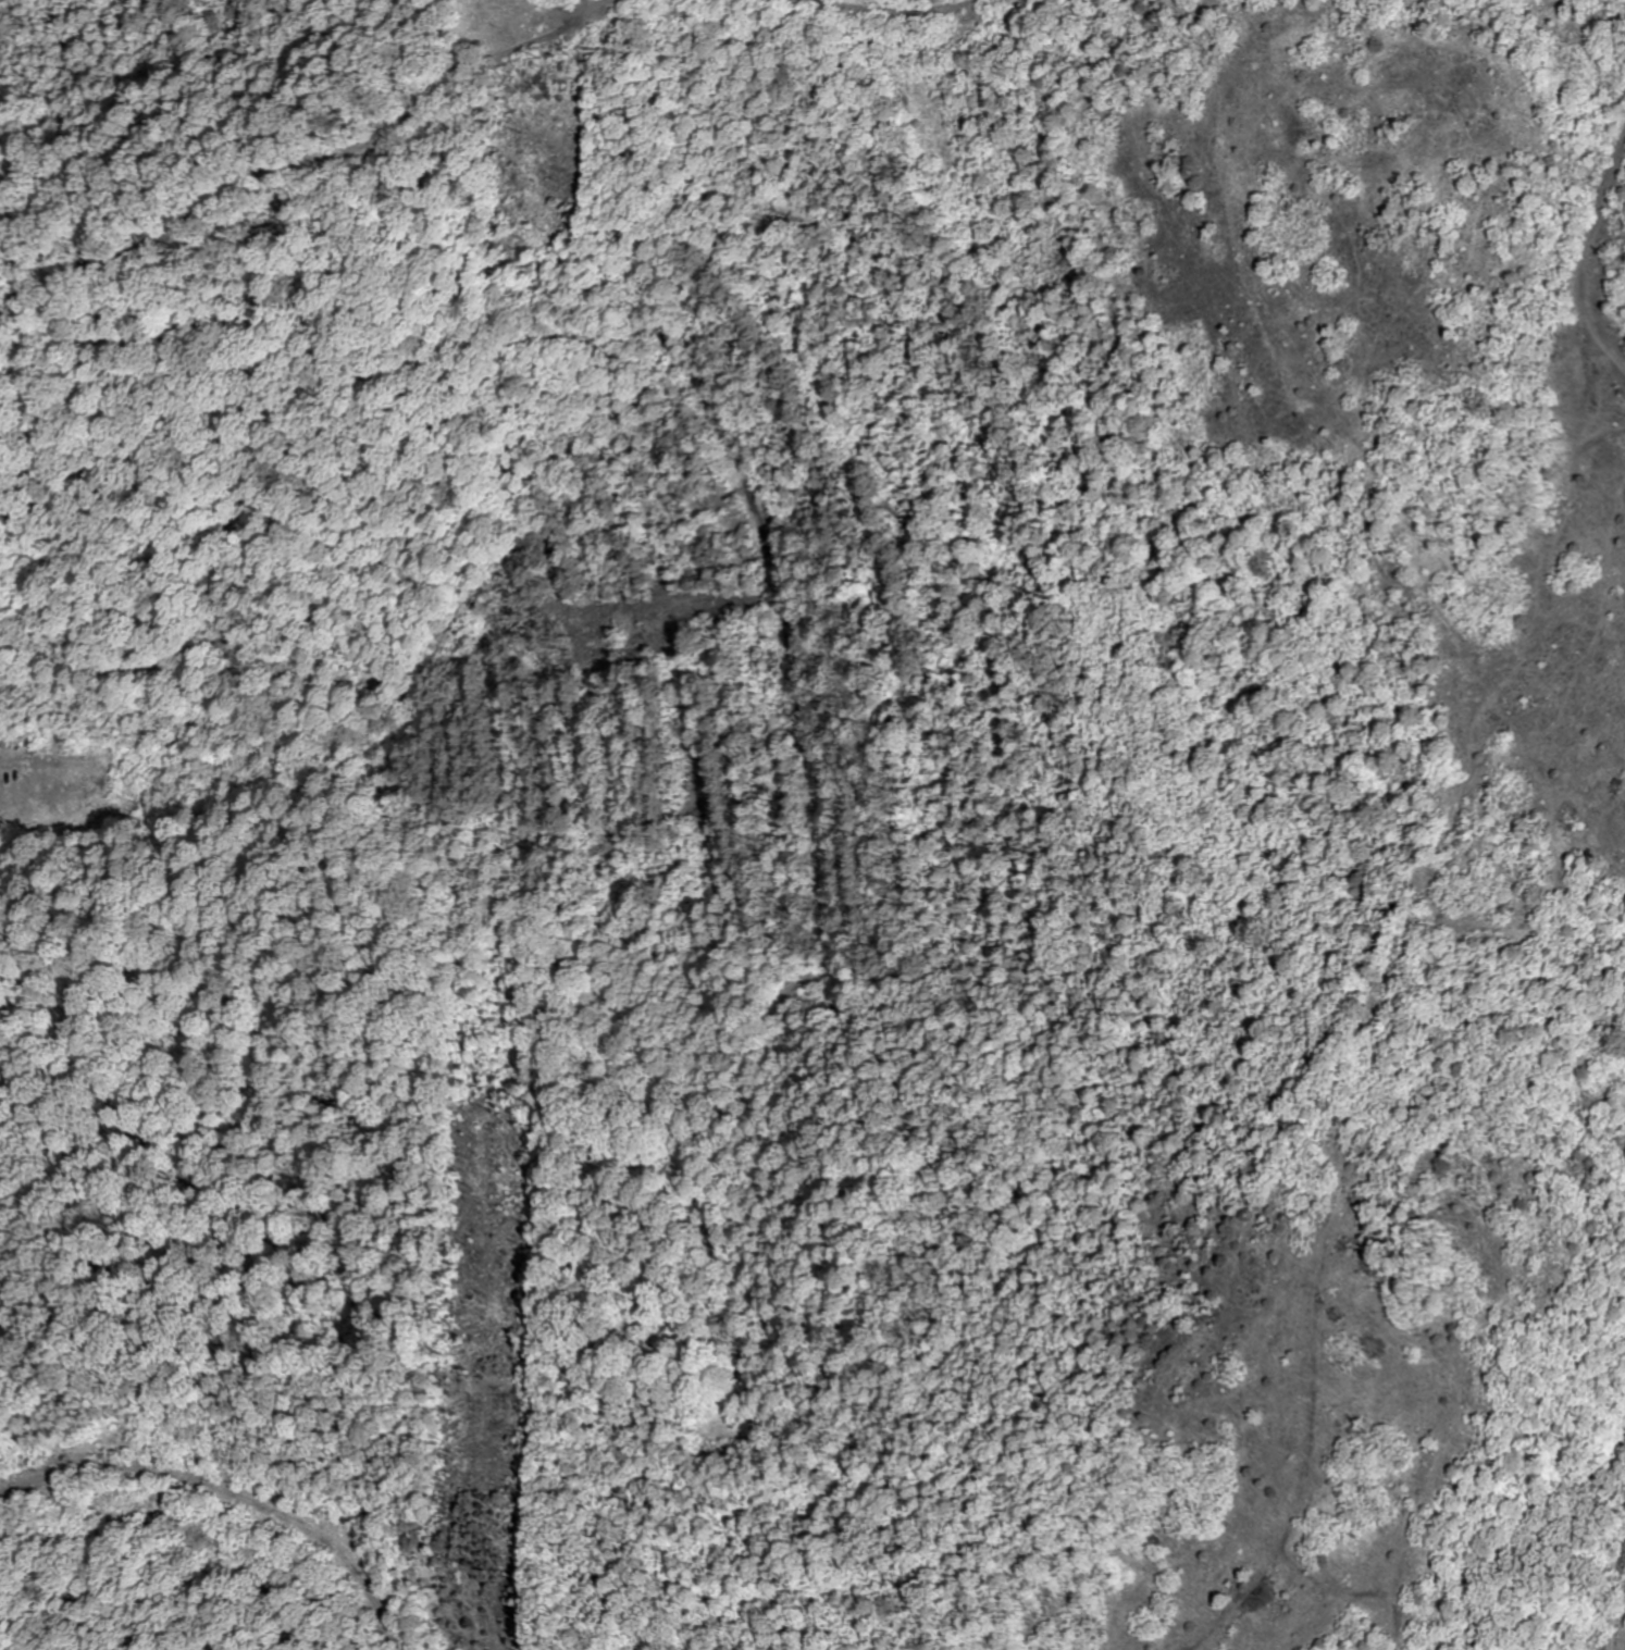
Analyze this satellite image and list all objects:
power tower: (551, 48)
power tower: (484, 1572)

